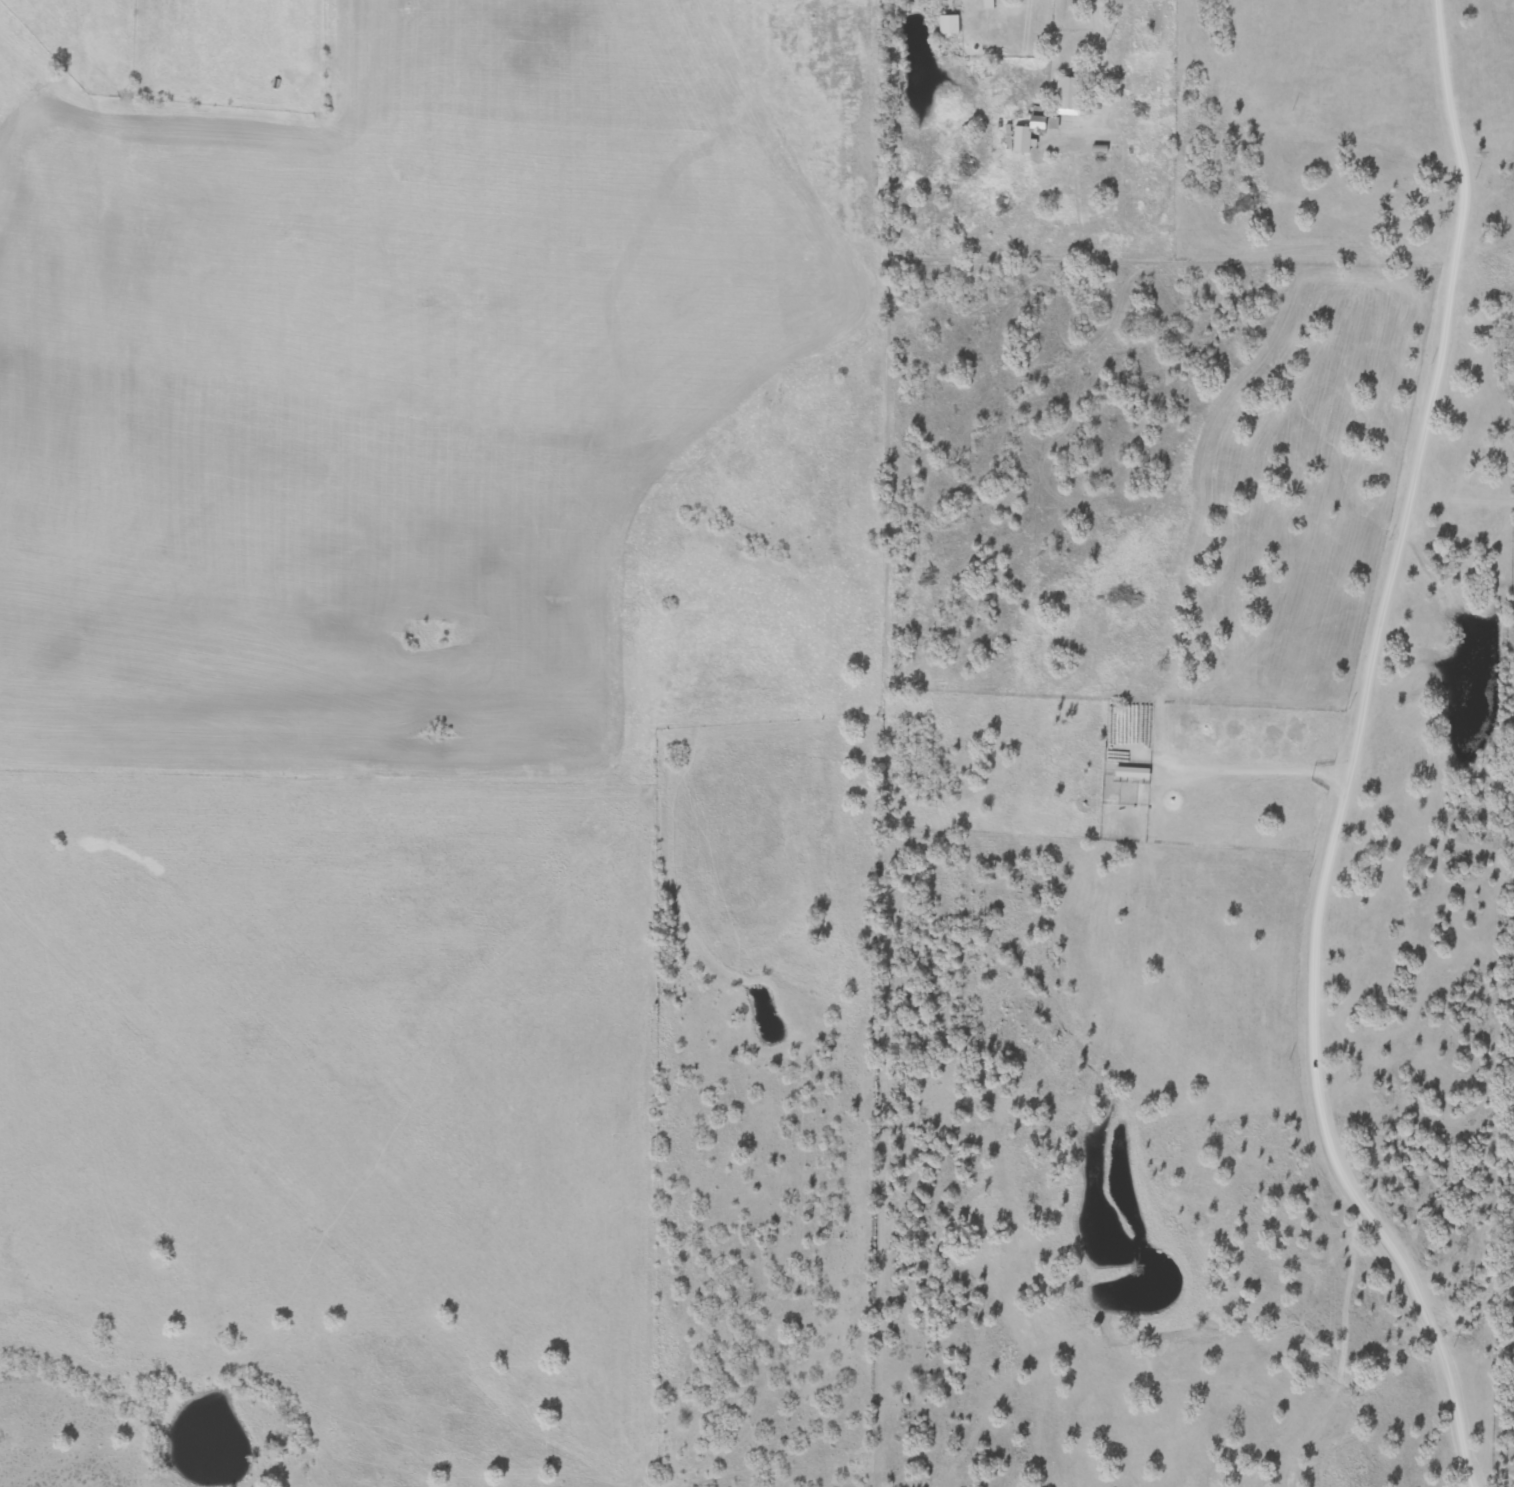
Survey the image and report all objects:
building: (948, 25)
road: (88, 92)
building: (1066, 95)
building: (1044, 123)
building: (1021, 139)
road: (1187, 247)
road: (1354, 755)
road: (1254, 770)

